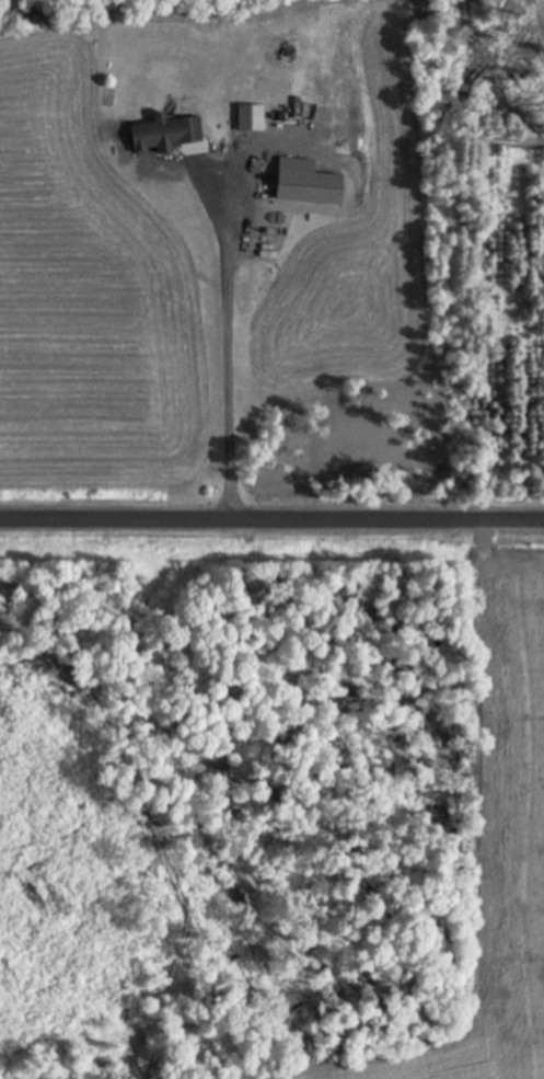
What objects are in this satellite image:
building: (254, 117)
building: (171, 133)
building: (312, 182)
road: (271, 527)

